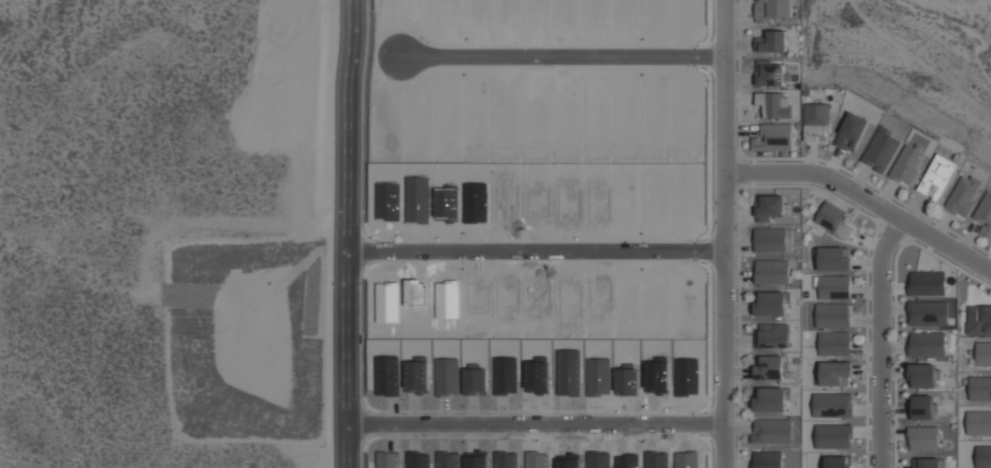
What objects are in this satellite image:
building: (387, 7)
building: (416, 7)
building: (771, 10)
building: (505, 13)
building: (535, 13)
building: (623, 13)
building: (447, 14)
building: (595, 14)
building: (655, 14)
building: (685, 14)
building: (477, 15)
building: (565, 15)
building: (769, 42)
road: (568, 56)
building: (769, 71)
building: (445, 100)
building: (656, 102)
building: (503, 104)
building: (475, 105)
building: (774, 105)
building: (685, 106)
building: (535, 107)
building: (598, 107)
building: (626, 107)
building: (566, 108)
building: (816, 120)
building: (416, 121)
building: (382, 125)
building: (851, 132)
building: (772, 140)
building: (881, 150)
building: (907, 164)
building: (938, 177)
building: (963, 195)
building: (386, 199)
building: (504, 200)
road: (865, 200)
building: (416, 201)
building: (445, 201)
building: (535, 202)
building: (653, 202)
building: (683, 202)
building: (474, 203)
building: (596, 203)
building: (567, 204)
building: (624, 206)
building: (770, 208)
building: (984, 215)
building: (830, 216)
road: (358, 234)
road: (728, 234)
building: (770, 240)
road: (543, 252)
building: (834, 259)
building: (771, 272)
building: (927, 283)
building: (833, 287)
building: (414, 293)
building: (654, 294)
building: (473, 295)
building: (534, 298)
building: (597, 298)
building: (446, 299)
building: (503, 299)
building: (624, 301)
building: (386, 302)
building: (566, 303)
building: (684, 303)
building: (772, 304)
building: (928, 313)
building: (831, 316)
building: (978, 320)
building: (774, 336)
road: (883, 342)
building: (834, 344)
building: (927, 344)
building: (983, 354)
building: (770, 368)
building: (415, 373)
building: (566, 373)
building: (534, 374)
building: (654, 374)
building: (834, 374)
building: (385, 375)
building: (922, 375)
building: (503, 376)
building: (445, 377)
building: (597, 378)
building: (684, 378)
building: (474, 381)
building: (624, 381)
building: (980, 388)
building: (772, 399)
building: (832, 405)
building: (922, 407)
road: (543, 423)
building: (978, 423)
building: (772, 431)
building: (833, 436)
building: (923, 438)
building: (983, 457)
building: (445, 459)
building: (767, 459)
building: (385, 460)
building: (415, 460)
building: (503, 460)
building: (535, 461)
building: (596, 461)
building: (654, 461)
building: (684, 461)
building: (474, 462)
building: (566, 462)
building: (625, 462)
building: (838, 462)
building: (929, 463)

